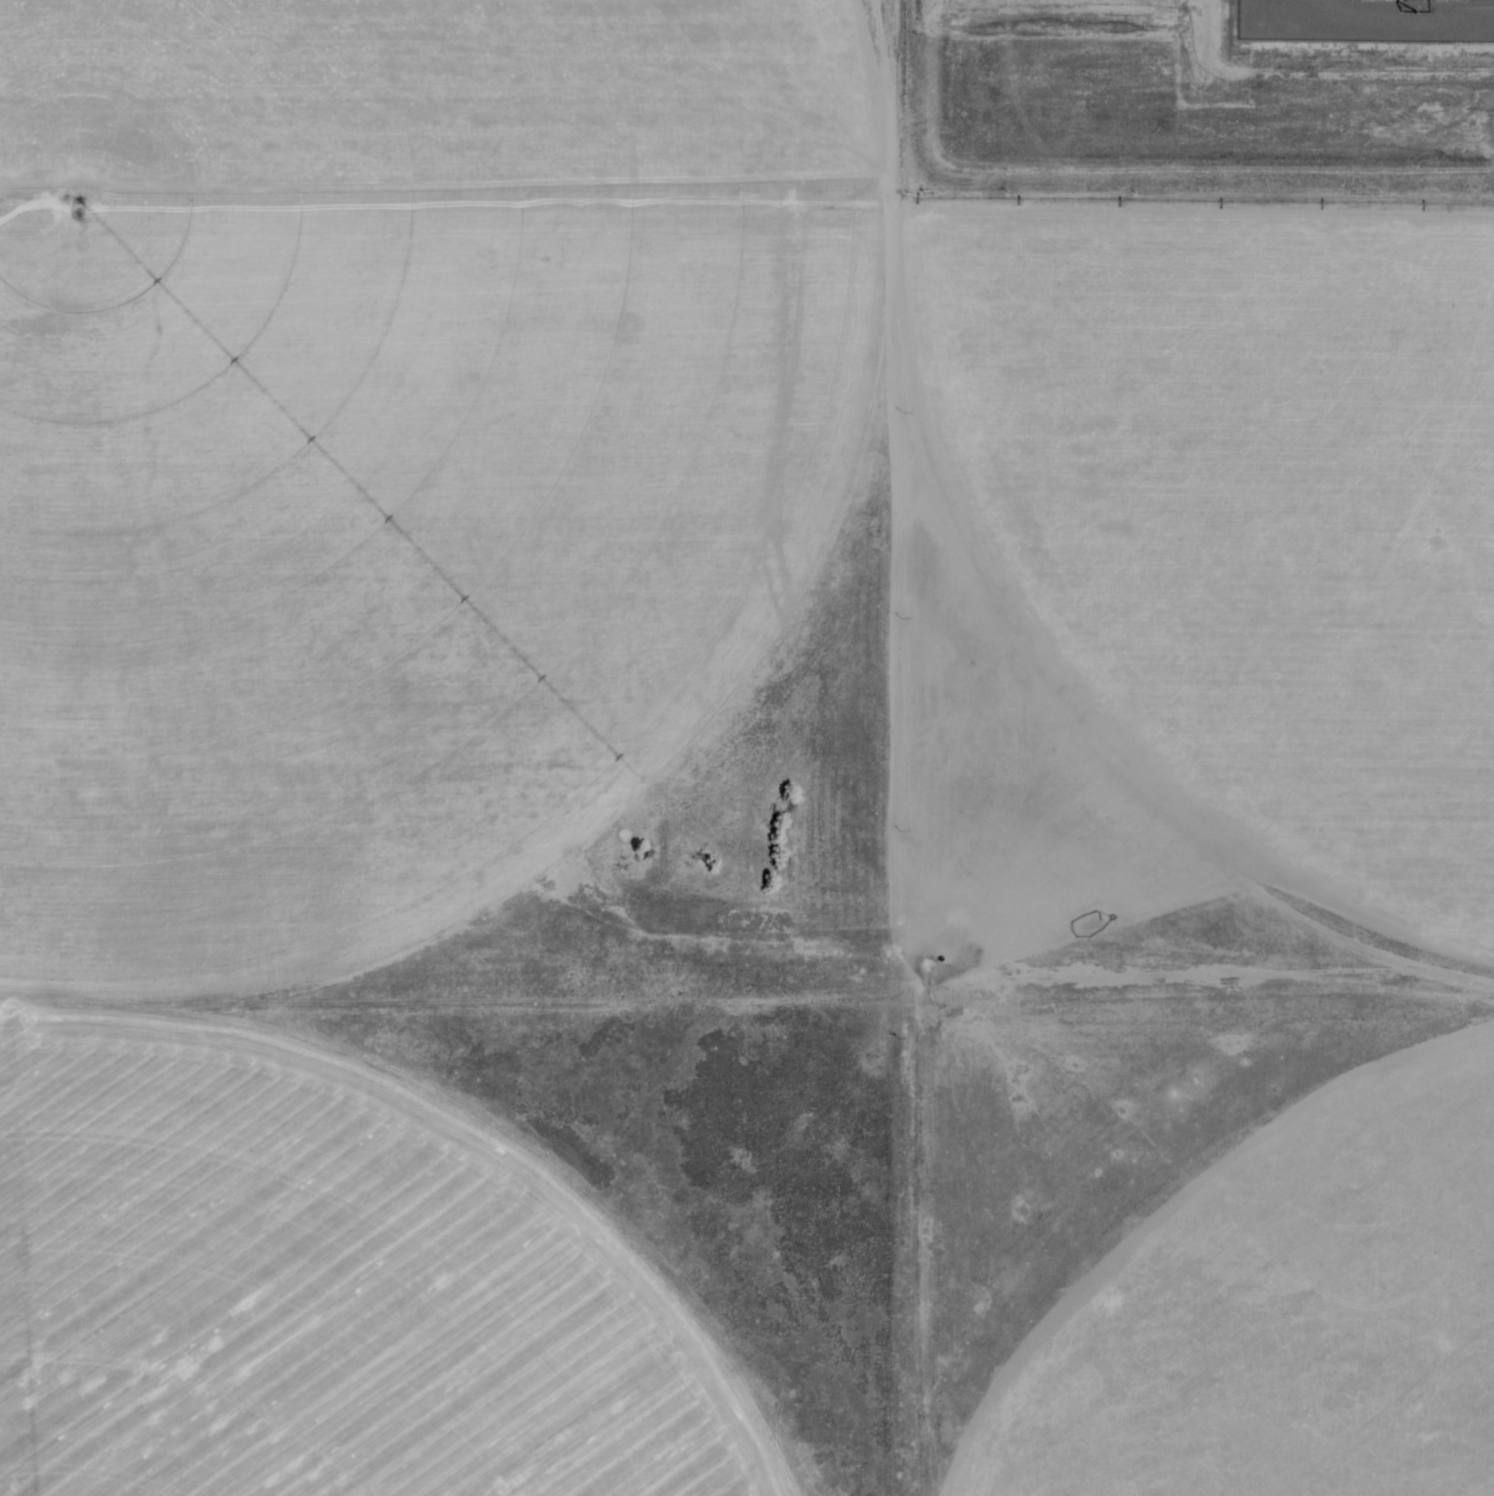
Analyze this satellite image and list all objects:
power substation: (1367, 19)

